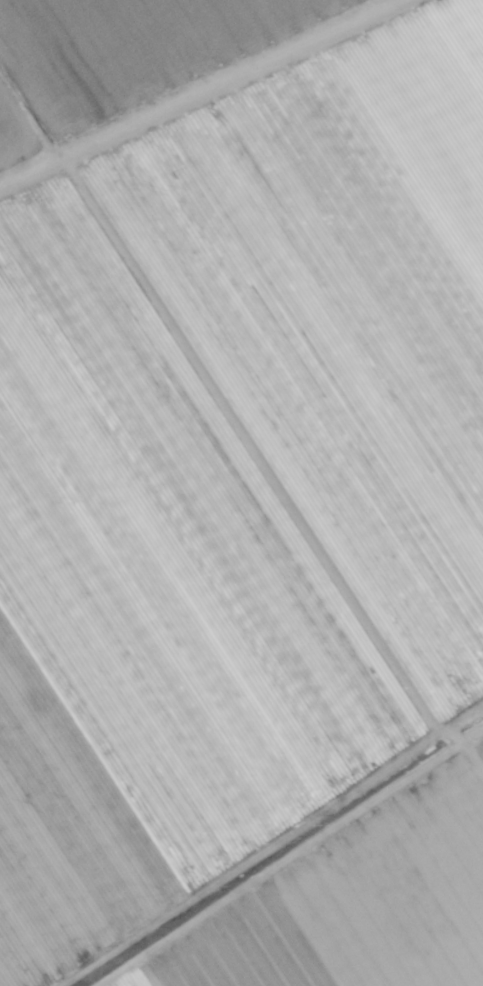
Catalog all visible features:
road: (193, 85)
crop: (241, 493)

